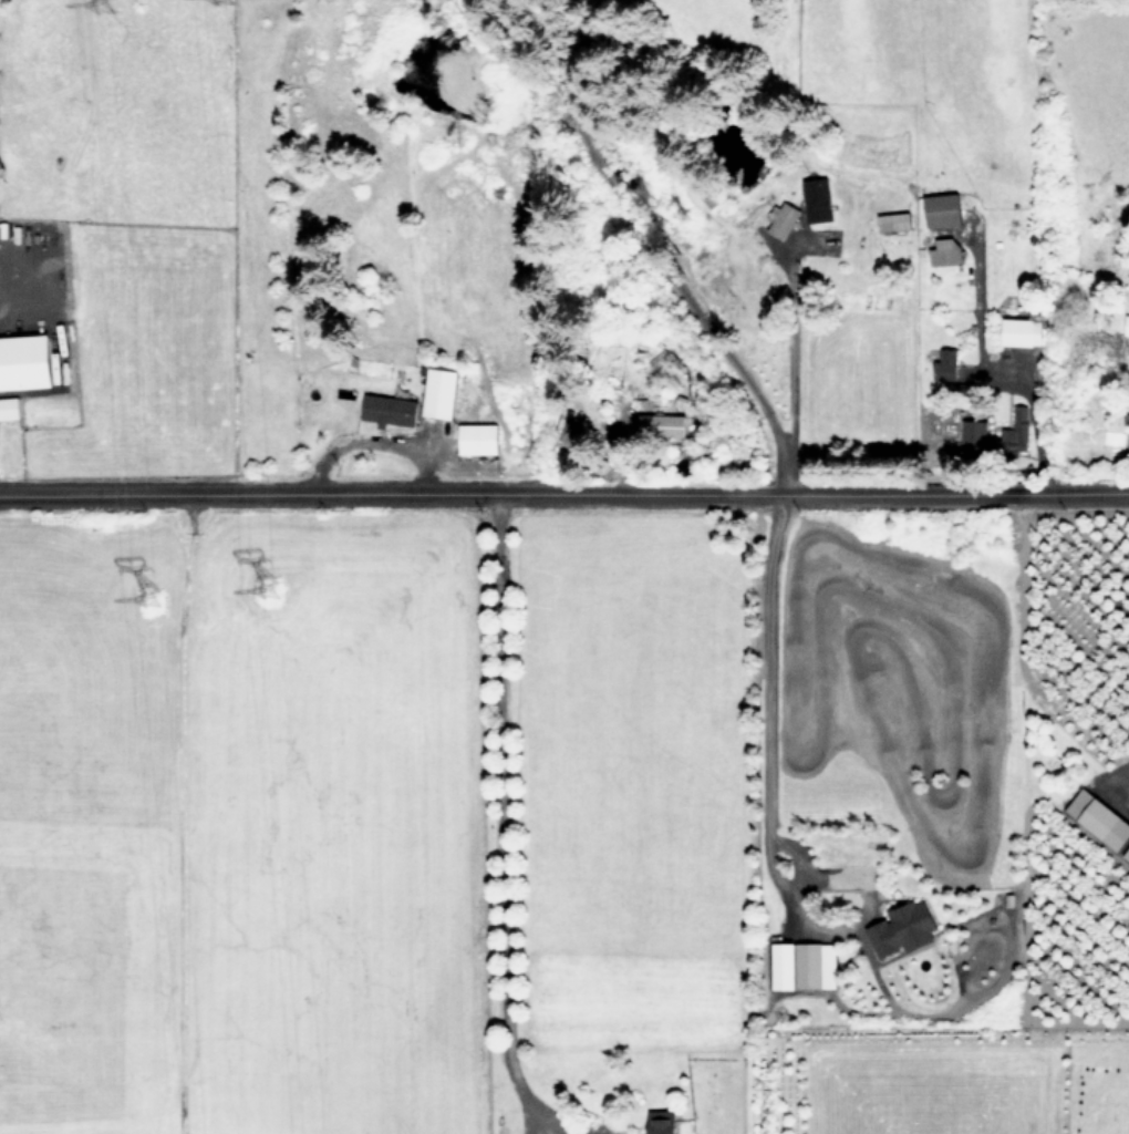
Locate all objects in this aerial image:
power tower: (231, 0)
power tower: (111, 3)
building: (818, 198)
building: (943, 208)
building: (786, 219)
building: (894, 220)
building: (945, 250)
road: (643, 252)
building: (1126, 324)
building: (1022, 331)
road: (789, 349)
building: (25, 361)
building: (946, 363)
building: (441, 392)
building: (9, 408)
building: (389, 410)
road: (1030, 421)
building: (661, 424)
building: (564, 430)
building: (1017, 431)
building: (975, 432)
building: (478, 437)
road: (563, 487)
power tower: (279, 584)
power tower: (162, 605)
road: (1118, 776)
road: (760, 811)
building: (1100, 819)
road: (498, 831)
building: (903, 928)
building: (817, 965)
building: (785, 966)
building: (662, 1121)

